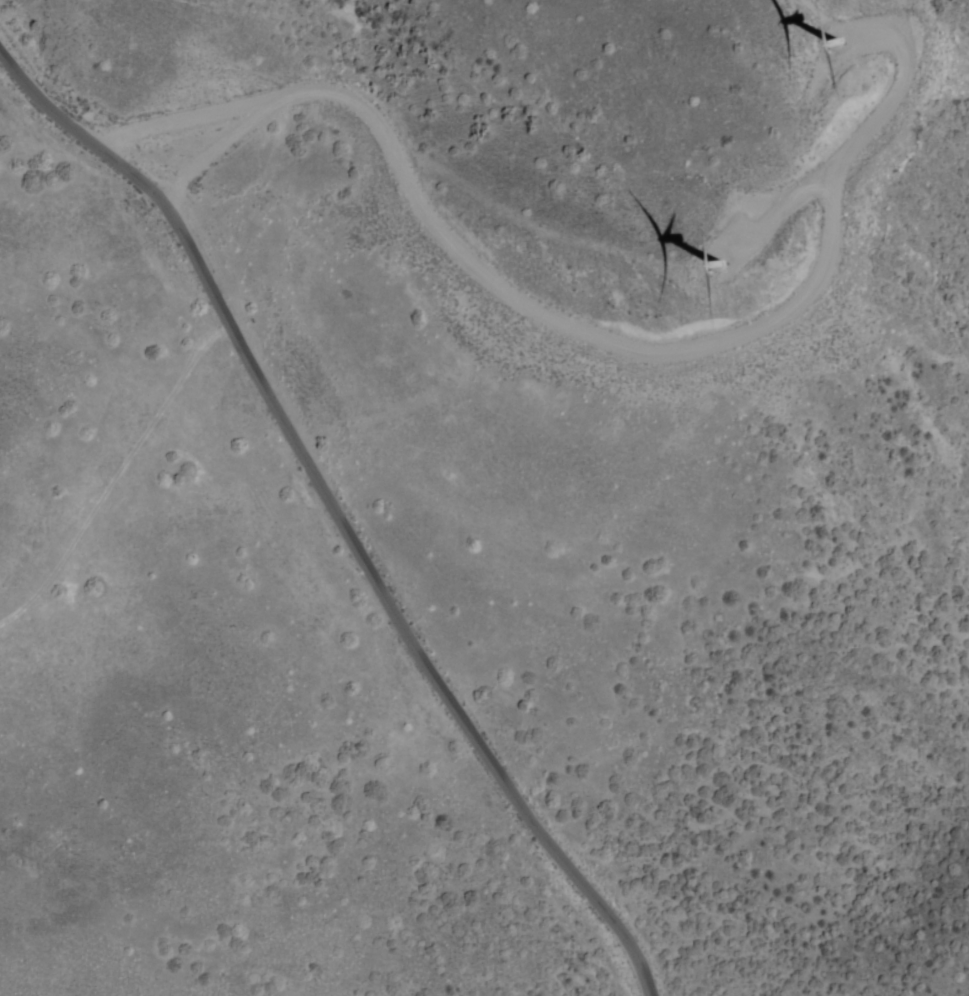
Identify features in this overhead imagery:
wind turbine: (841, 36)
wind turbine: (728, 256)

